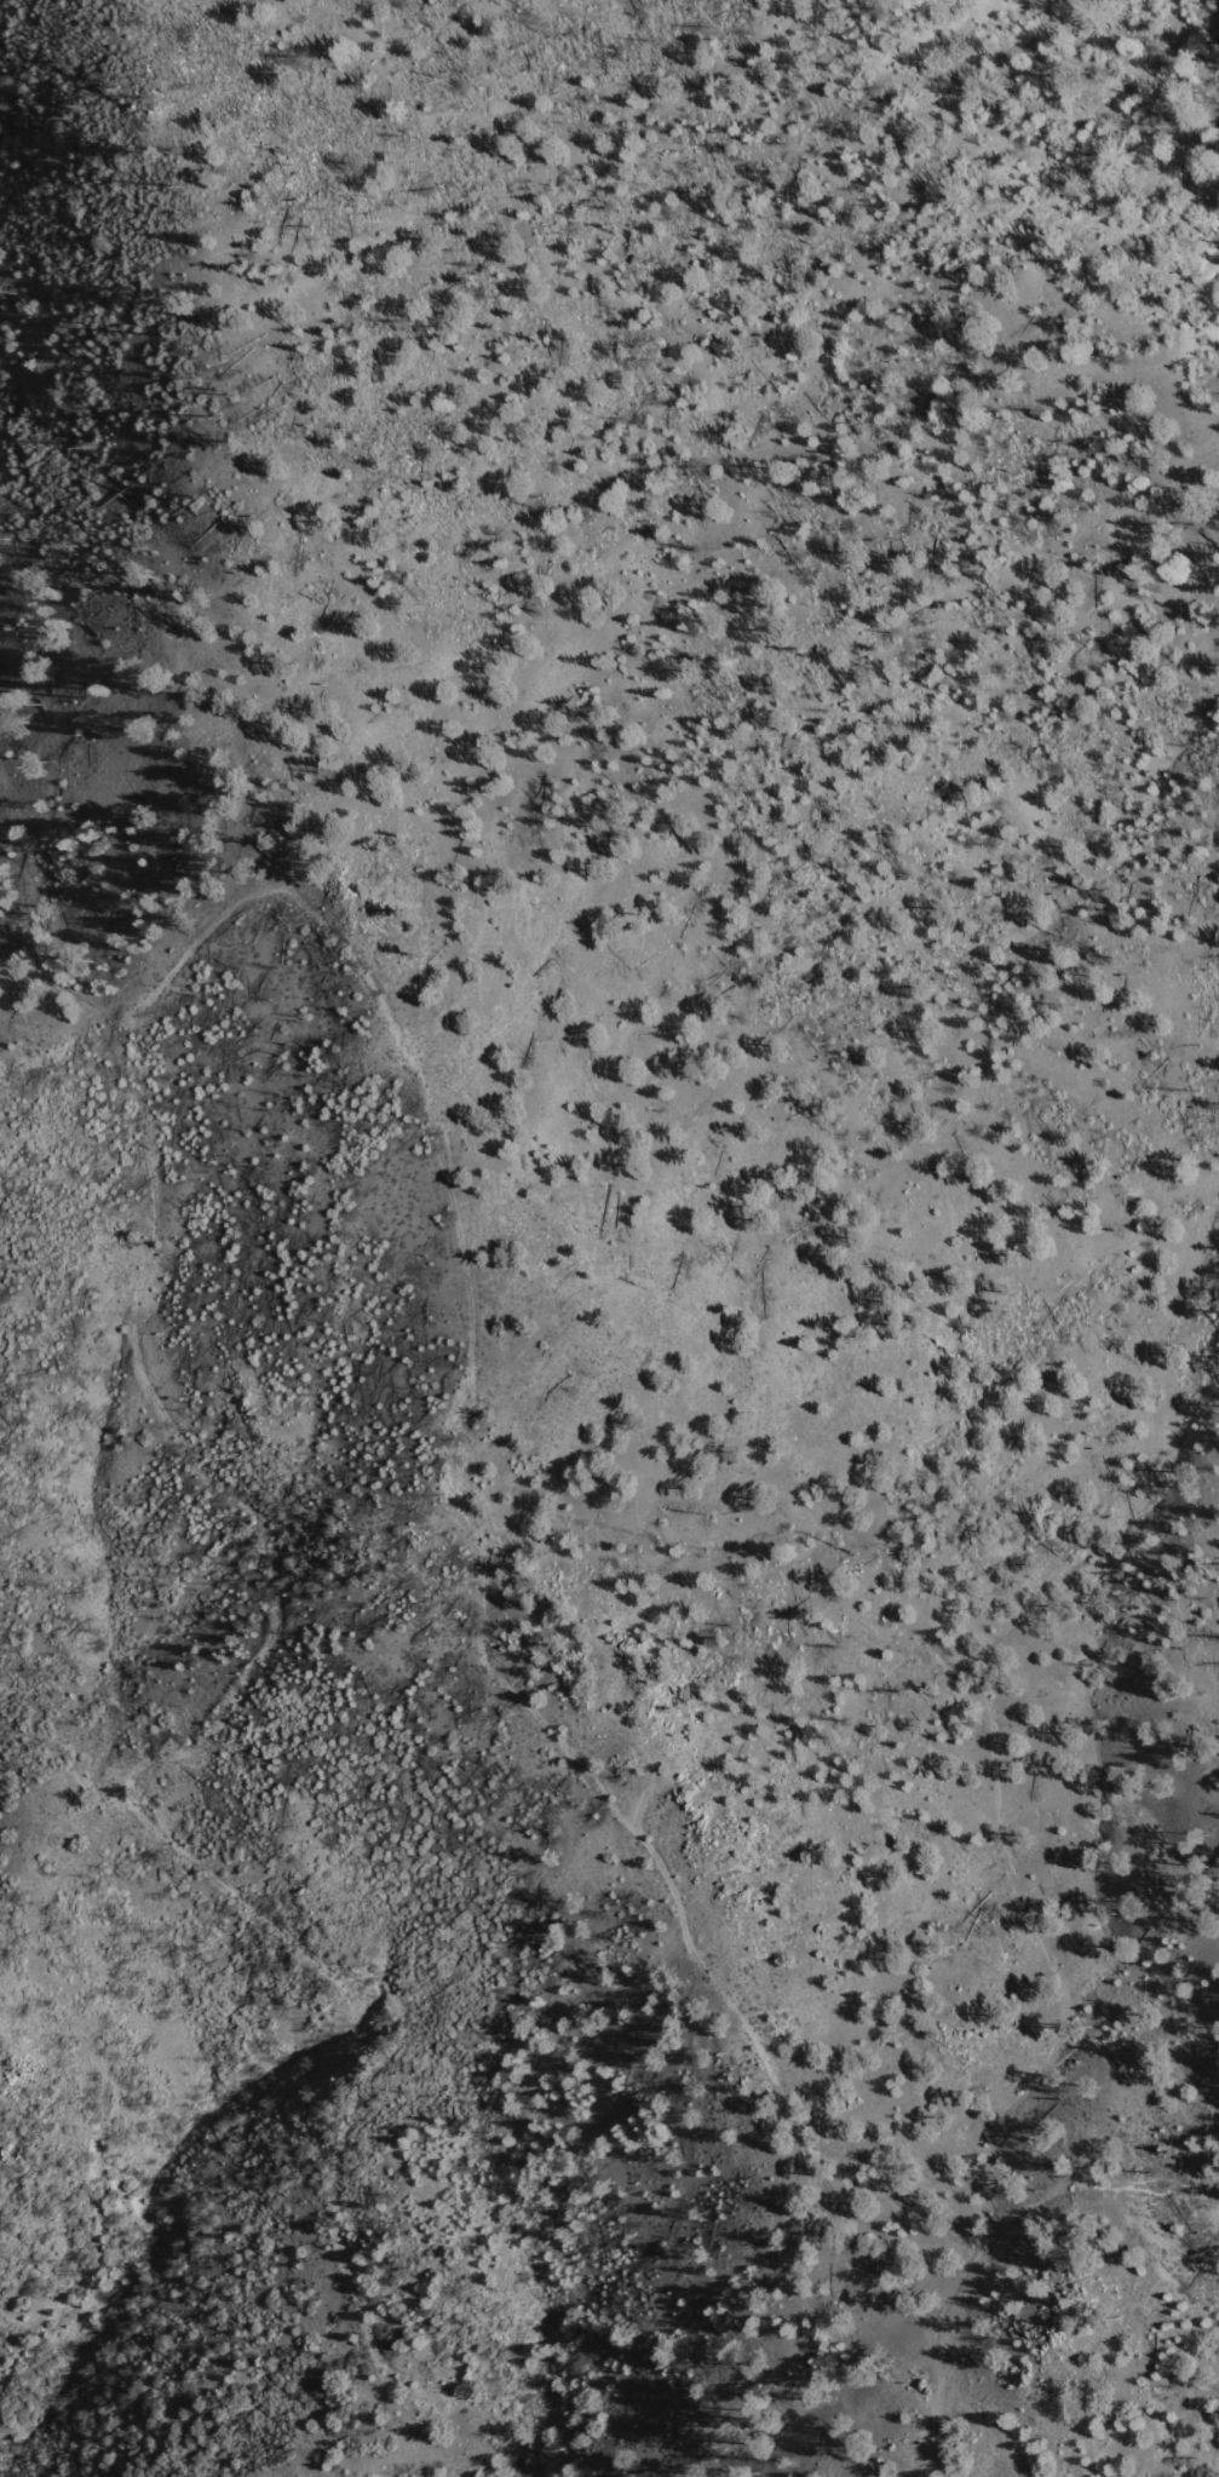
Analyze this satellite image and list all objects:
road: (904, 1069)
road: (487, 1633)
road: (153, 1834)
road: (1214, 2458)

